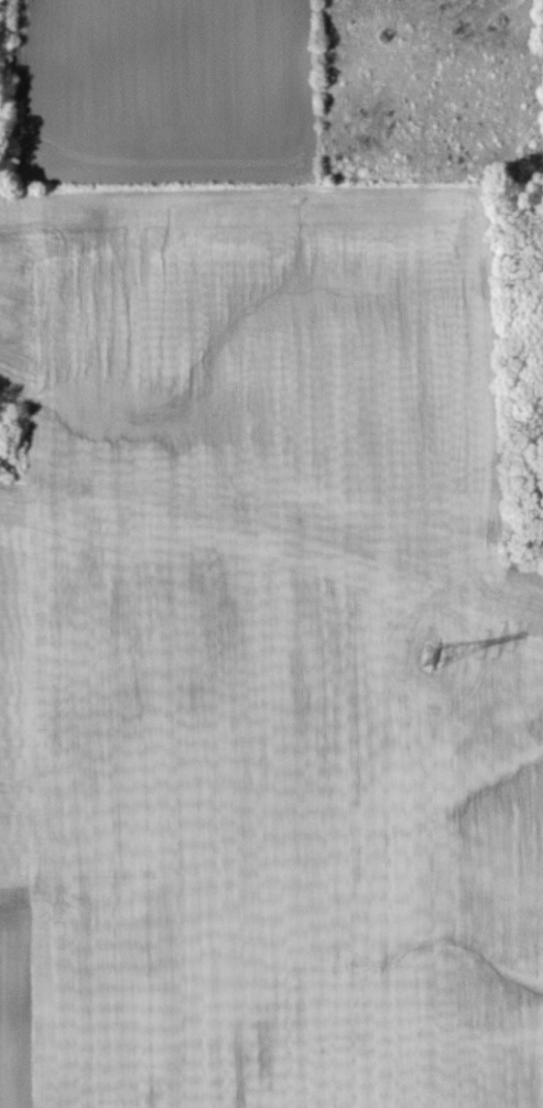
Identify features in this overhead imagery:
power tower: (438, 651)

